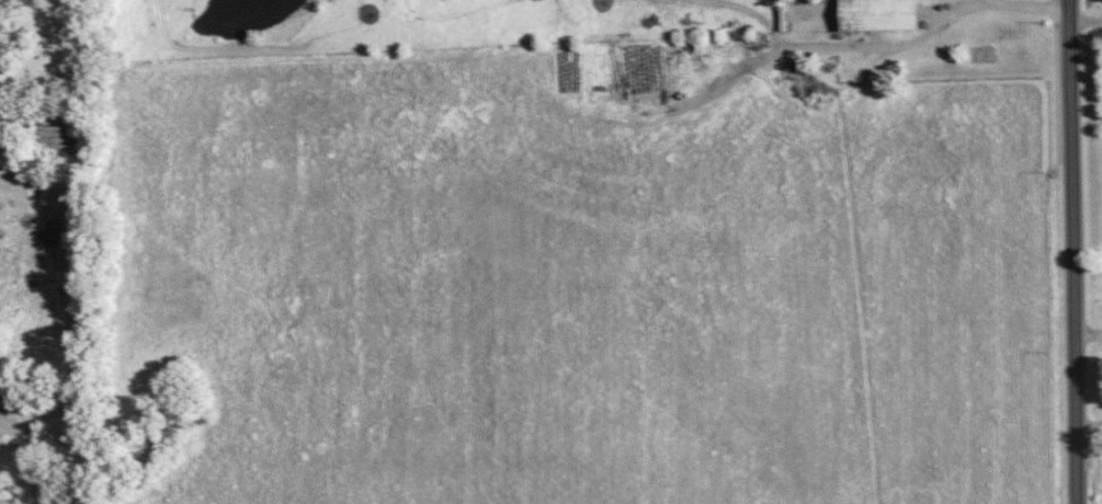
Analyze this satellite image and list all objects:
road: (1038, 3)
building: (877, 14)
road: (1087, 19)
road: (897, 42)
building: (3, 59)
road: (1073, 251)
road: (1088, 330)
road: (1089, 420)

